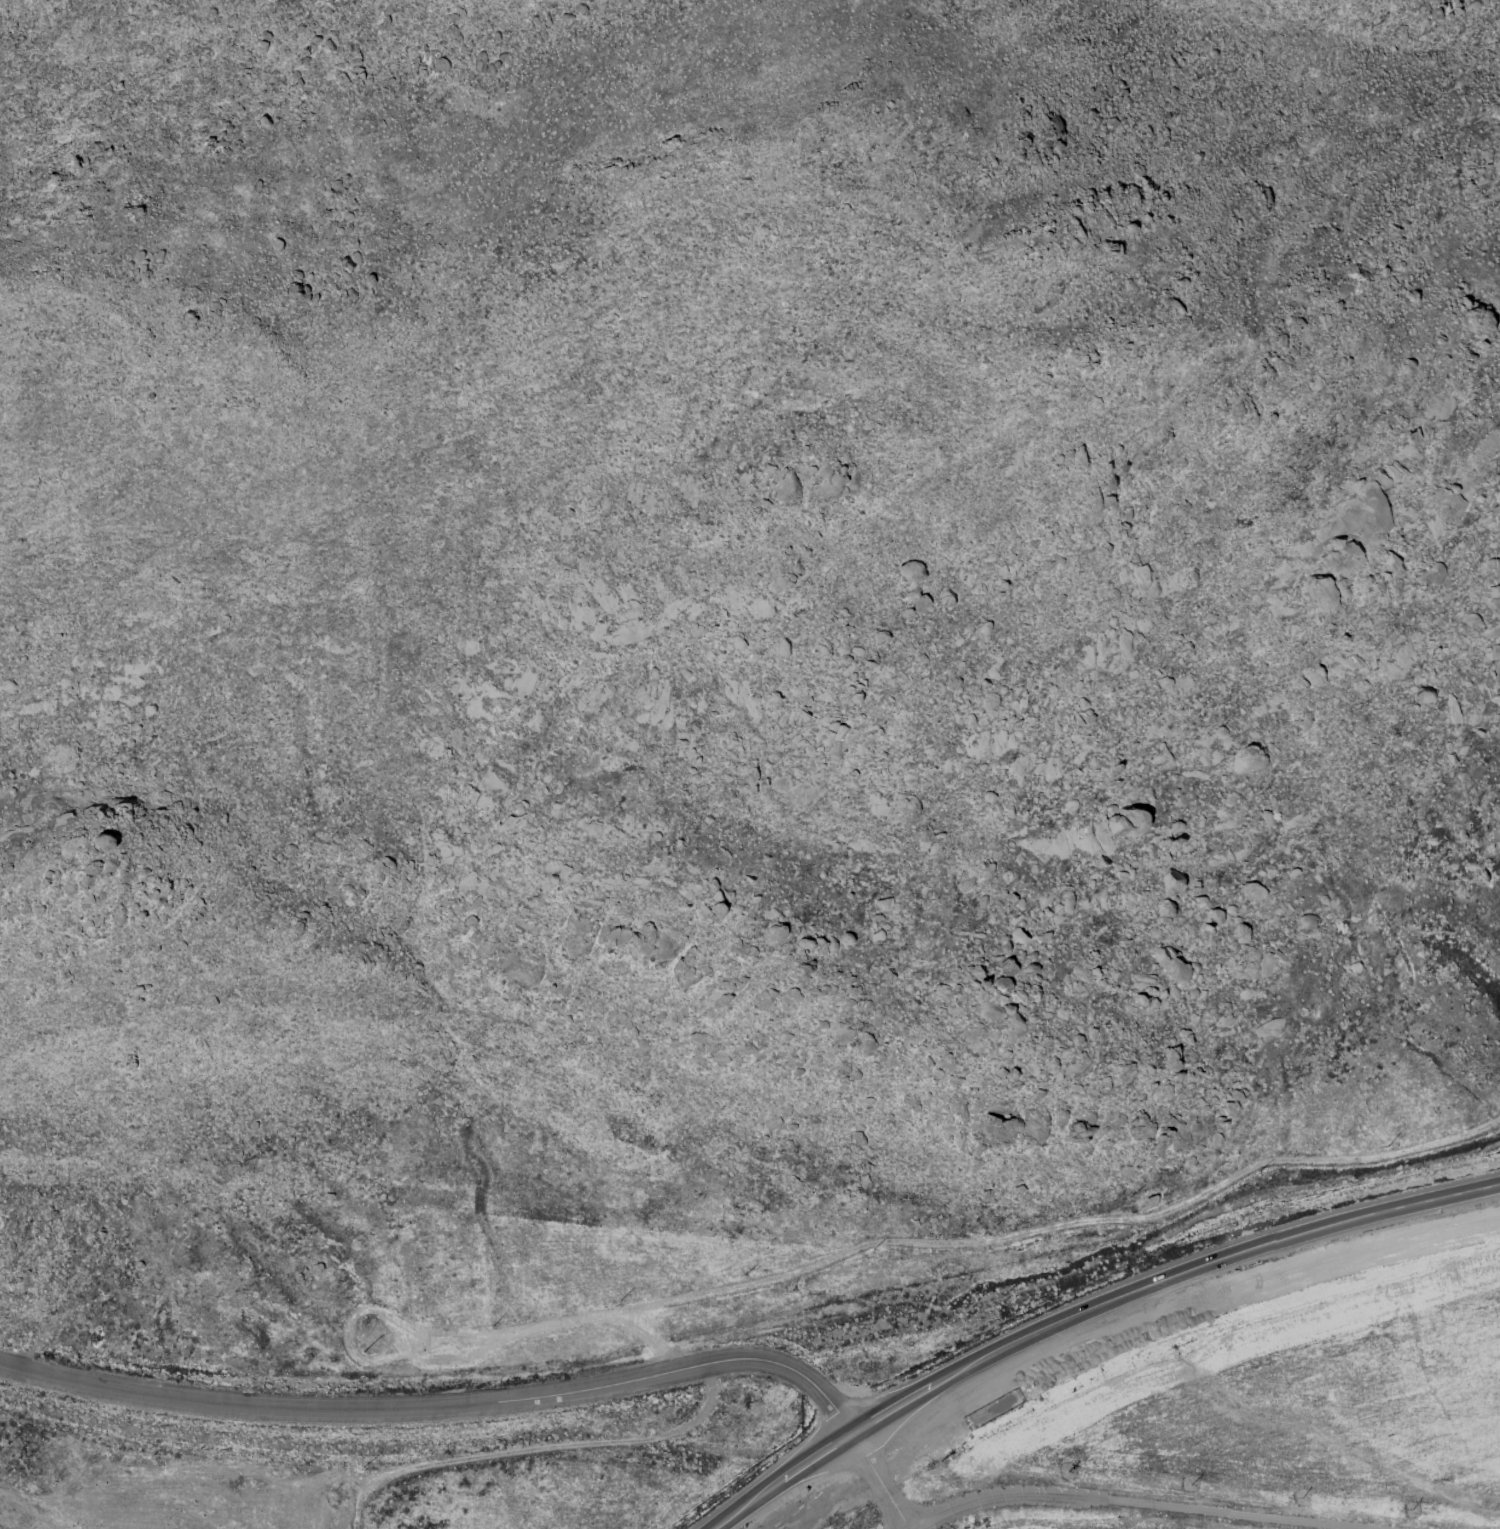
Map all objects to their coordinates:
road: (1086, 1310)
road: (440, 1403)
road: (1095, 1496)
road: (906, 1524)

